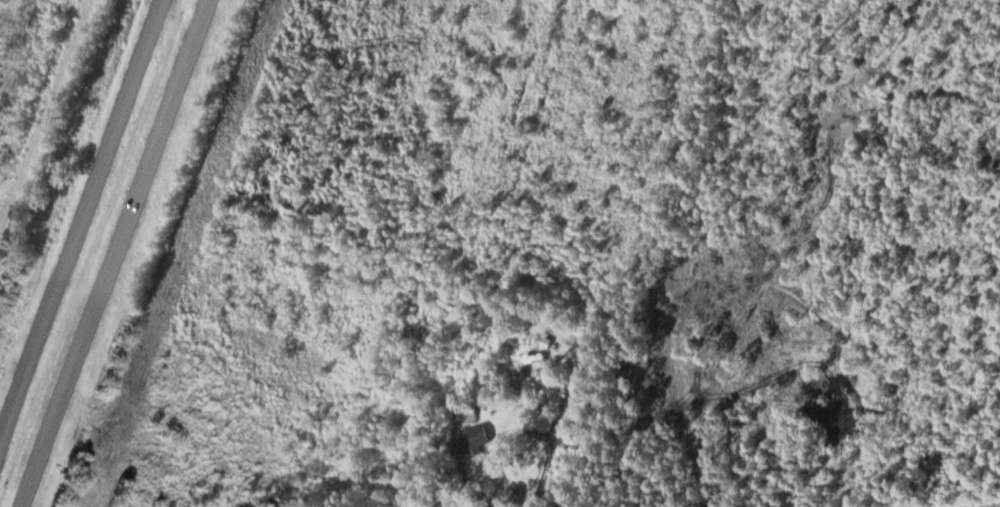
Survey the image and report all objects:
road: (45, 115)
road: (45, 115)
road: (81, 229)
road: (124, 253)
building: (540, 378)
road: (566, 420)
building: (473, 441)

